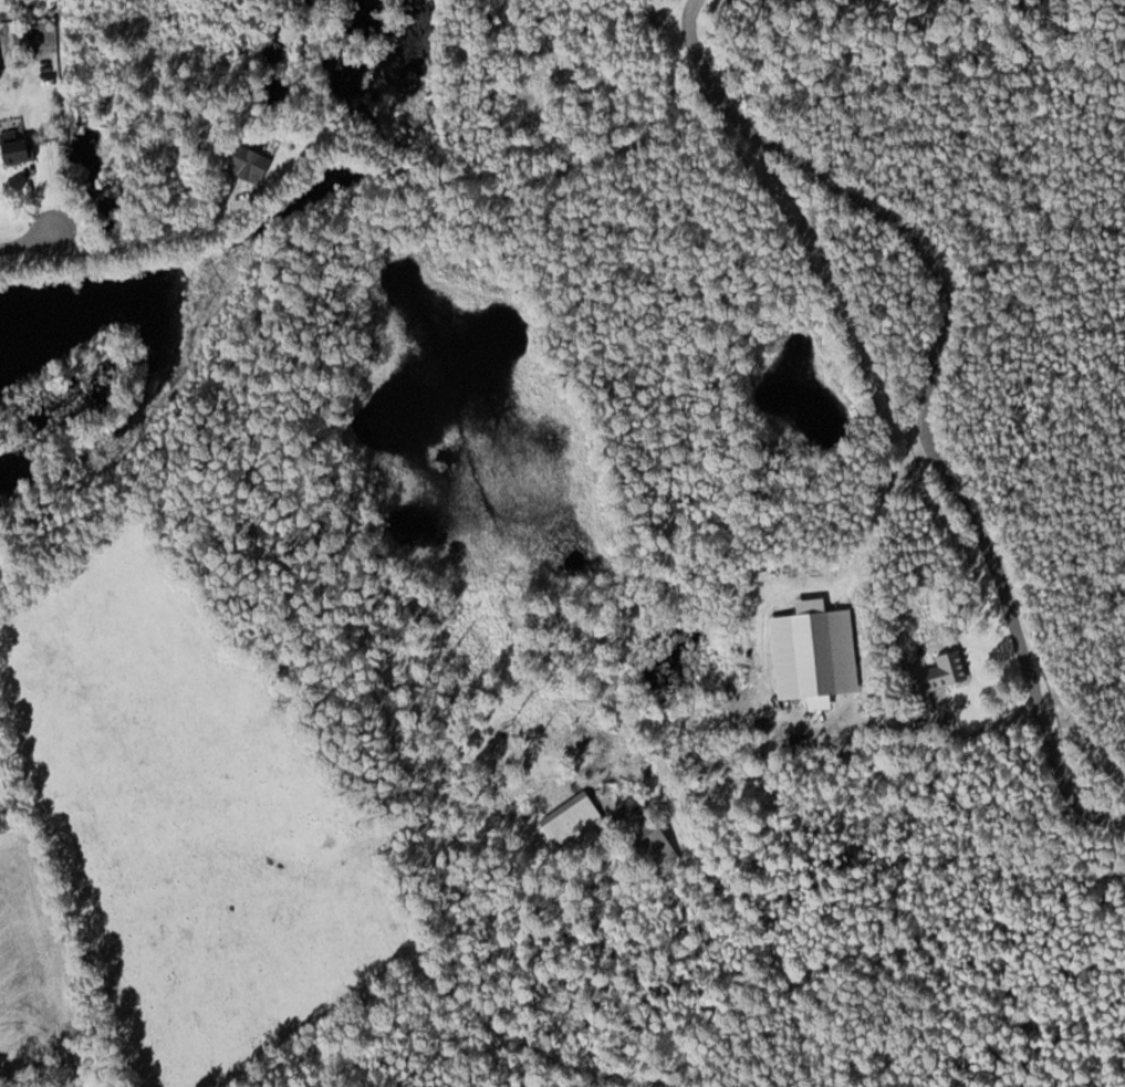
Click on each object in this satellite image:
building: (19, 147)
building: (254, 165)
road: (30, 239)
road: (929, 383)
building: (944, 671)
building: (575, 818)
building: (654, 837)

